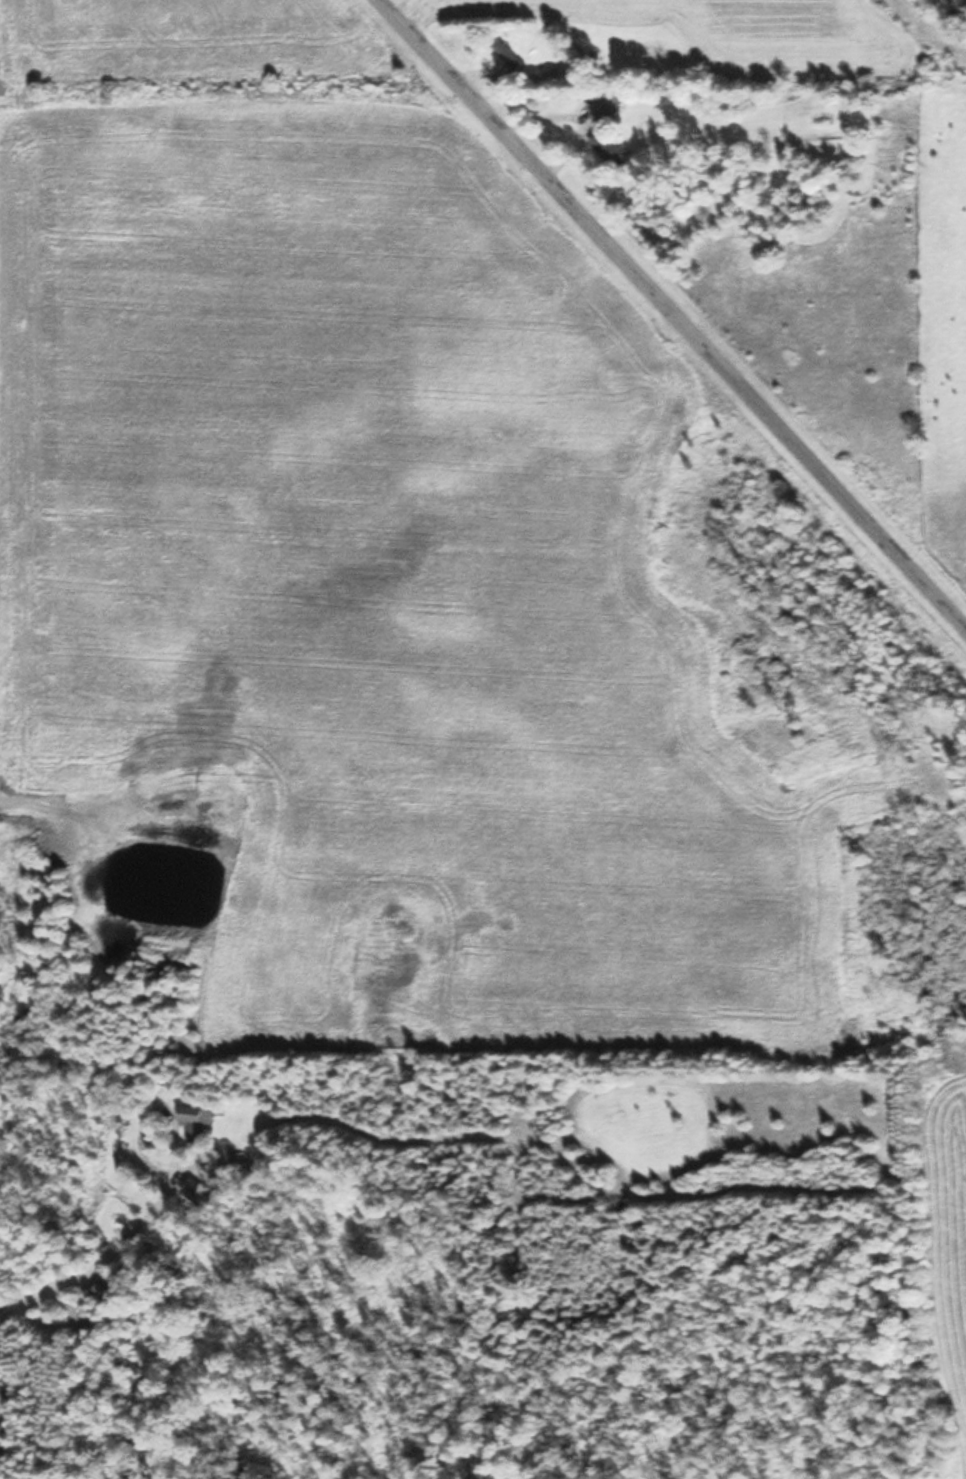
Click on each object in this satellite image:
building: (602, 107)
building: (608, 148)
road: (669, 317)
building: (196, 1121)
road: (79, 1175)
building: (197, 1192)
building: (107, 1293)

